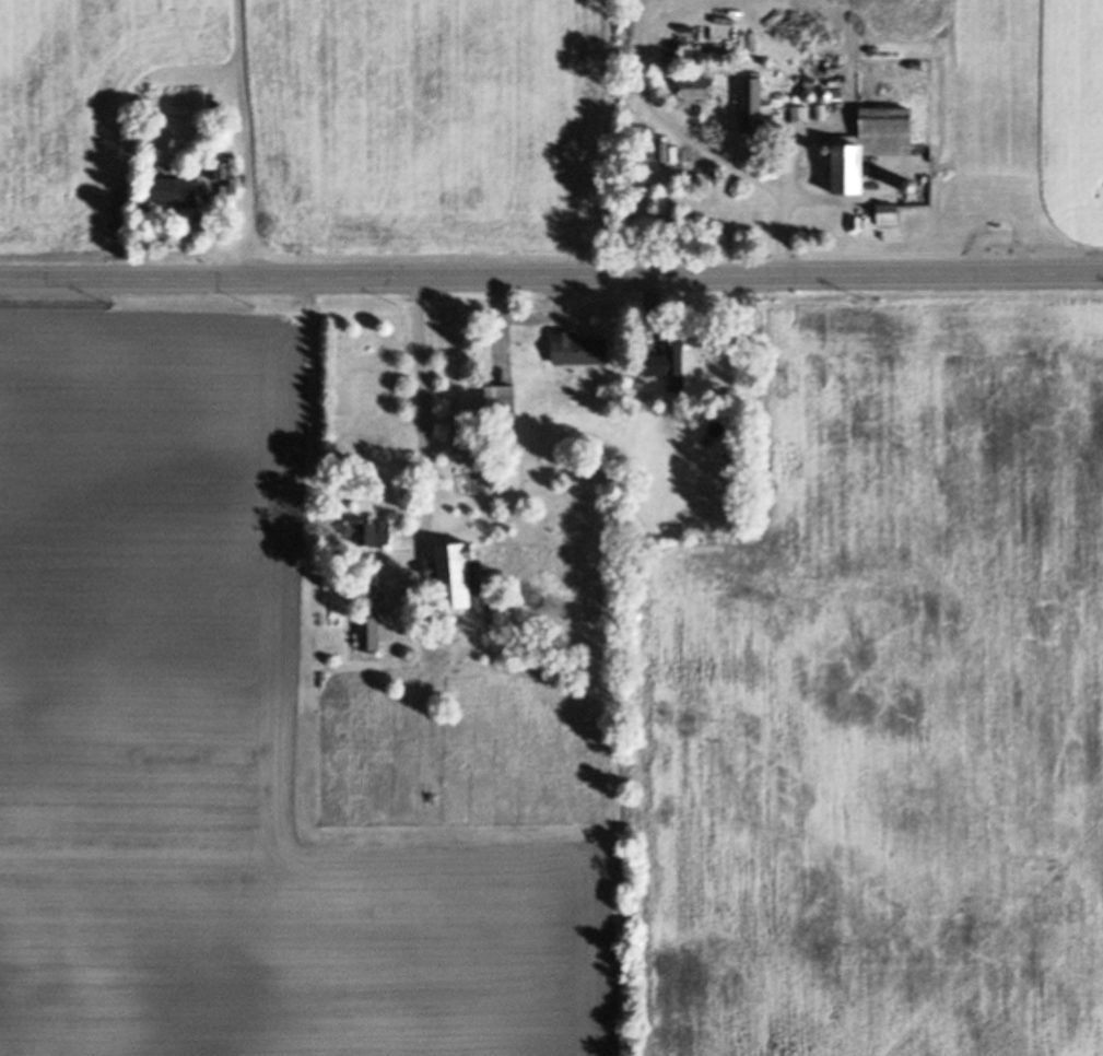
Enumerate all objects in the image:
building: (685, 25)
road: (630, 54)
building: (916, 63)
building: (718, 69)
building: (834, 69)
building: (810, 81)
building: (835, 82)
airport taxiway: (998, 86)
building: (695, 87)
airport: (995, 87)
building: (837, 91)
building: (809, 94)
building: (825, 94)
building: (753, 106)
building: (822, 110)
building: (800, 113)
building: (656, 130)
road: (244, 138)
building: (652, 142)
building: (871, 143)
building: (823, 148)
building: (652, 161)
road: (751, 168)
building: (204, 169)
building: (216, 171)
building: (234, 175)
building: (688, 175)
building: (894, 185)
building: (882, 186)
building: (911, 186)
building: (177, 189)
building: (888, 213)
building: (857, 221)
building: (999, 225)
road: (997, 237)
road: (551, 275)
building: (579, 349)
building: (670, 362)
building: (501, 397)
building: (639, 411)
building: (716, 426)
road: (421, 431)
building: (709, 437)
building: (371, 530)
building: (453, 572)
building: (369, 617)
building: (447, 617)
building: (408, 654)

